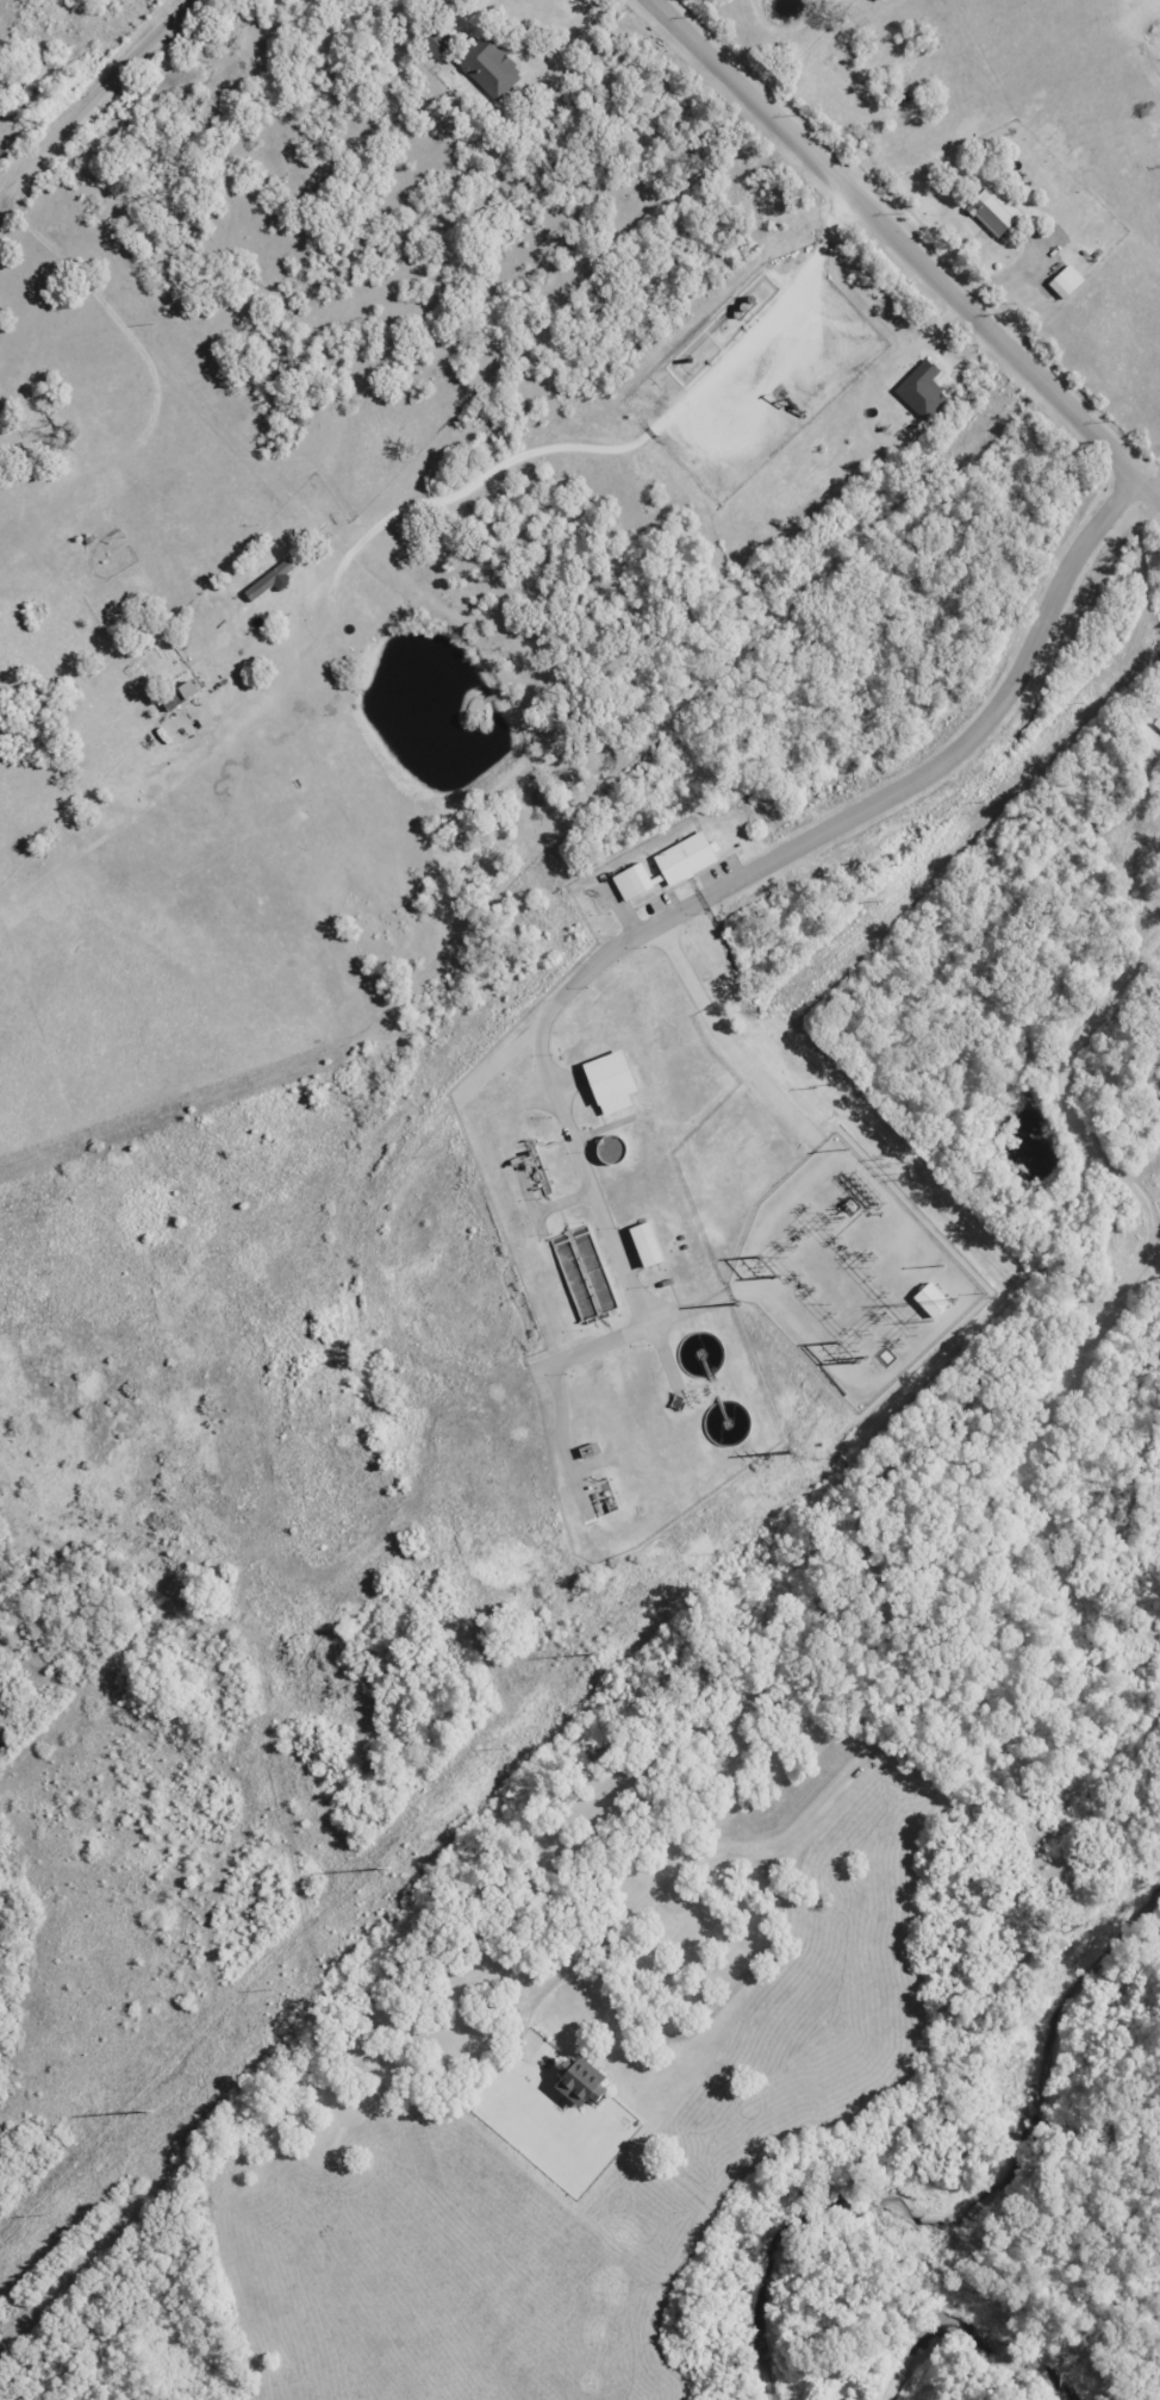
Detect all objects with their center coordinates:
road: (470, 4)
building: (442, 43)
building: (492, 67)
road: (94, 98)
building: (996, 212)
road: (903, 247)
building: (1068, 282)
building: (924, 391)
petroleum well: (784, 404)
road: (1153, 472)
building: (272, 582)
building: (191, 690)
building: (1158, 723)
road: (973, 736)
building: (688, 859)
building: (635, 883)
building: (615, 1083)
building: (649, 1246)
power substation: (850, 1273)
power tower: (740, 1303)
road: (980, 1374)
power tower: (796, 1452)
power tower: (601, 1653)
power tower: (388, 1869)
road: (623, 2015)
building: (584, 2083)
power tower: (152, 2109)

